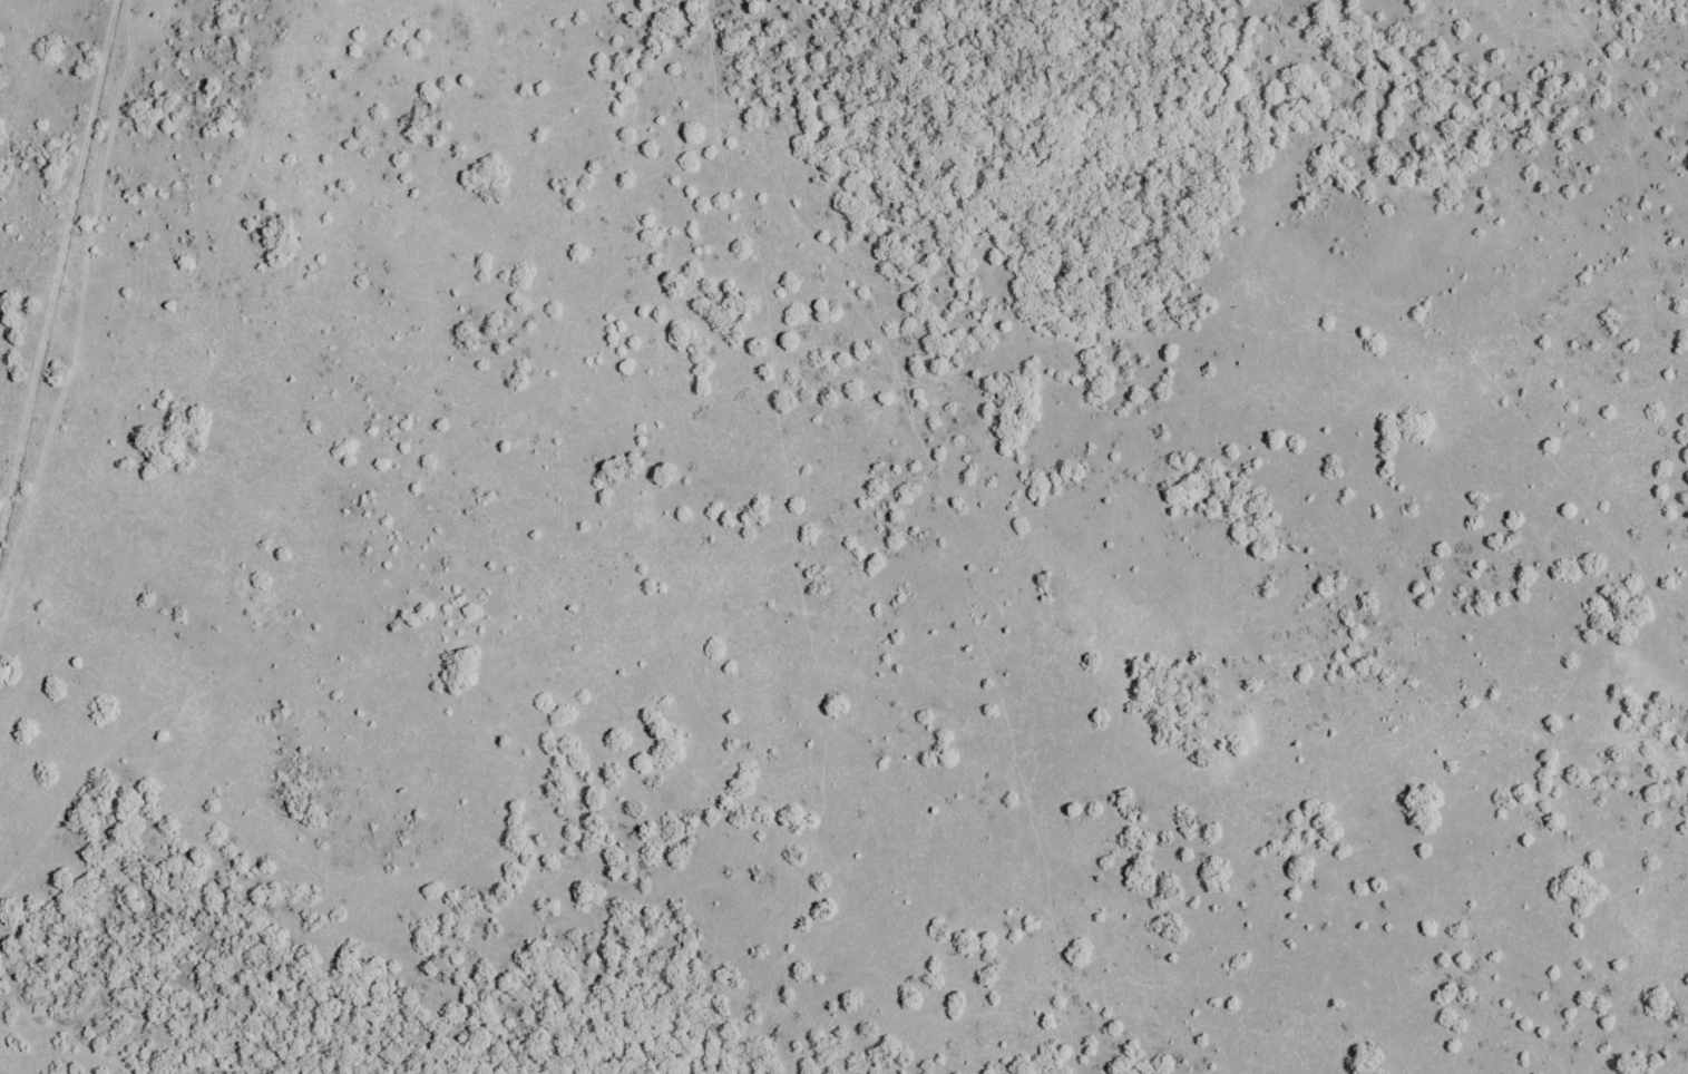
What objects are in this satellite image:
road: (65, 302)

